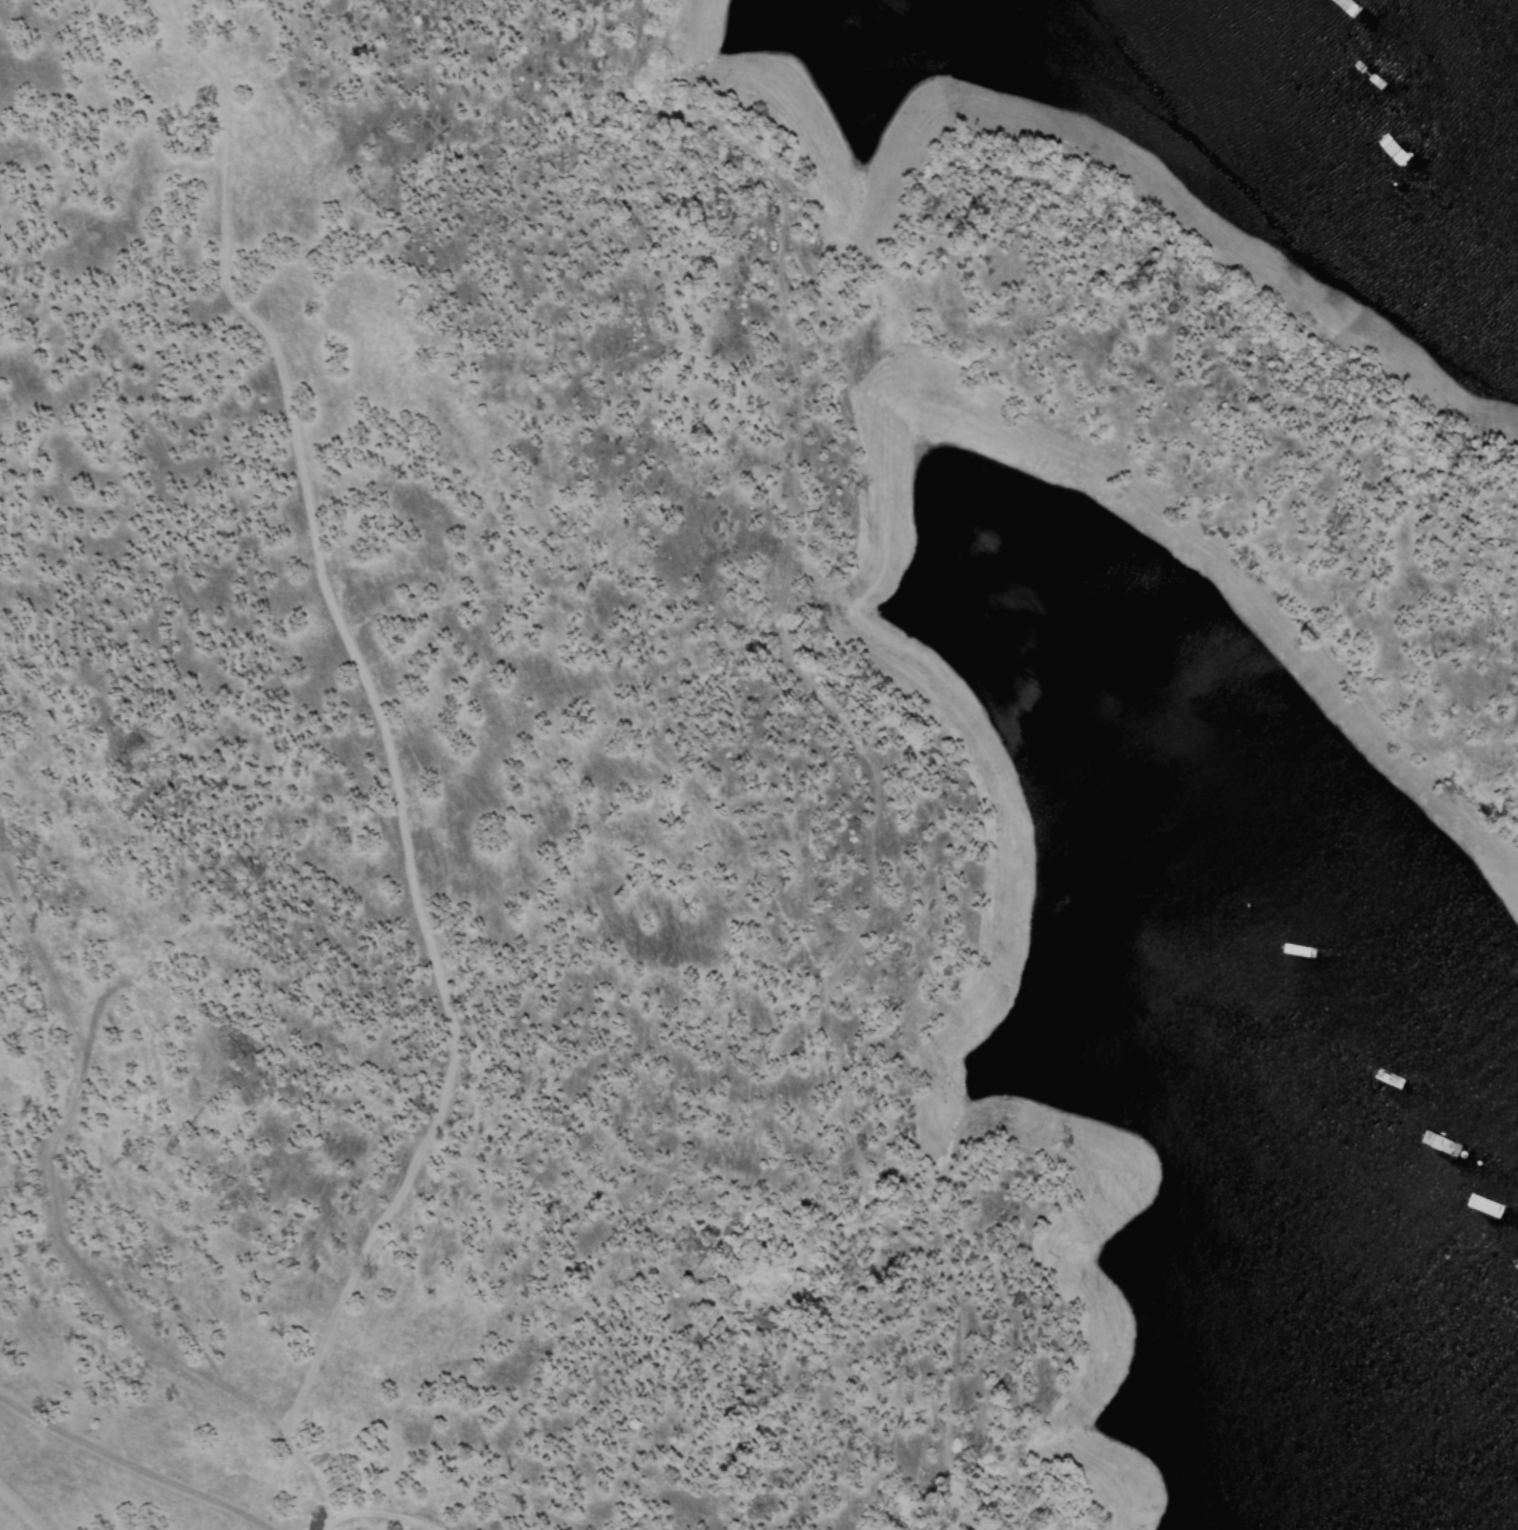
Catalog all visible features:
building: (1329, 140)
building: (1375, 1138)
building: (1415, 1218)
building: (1511, 1323)
road: (24, 1505)

